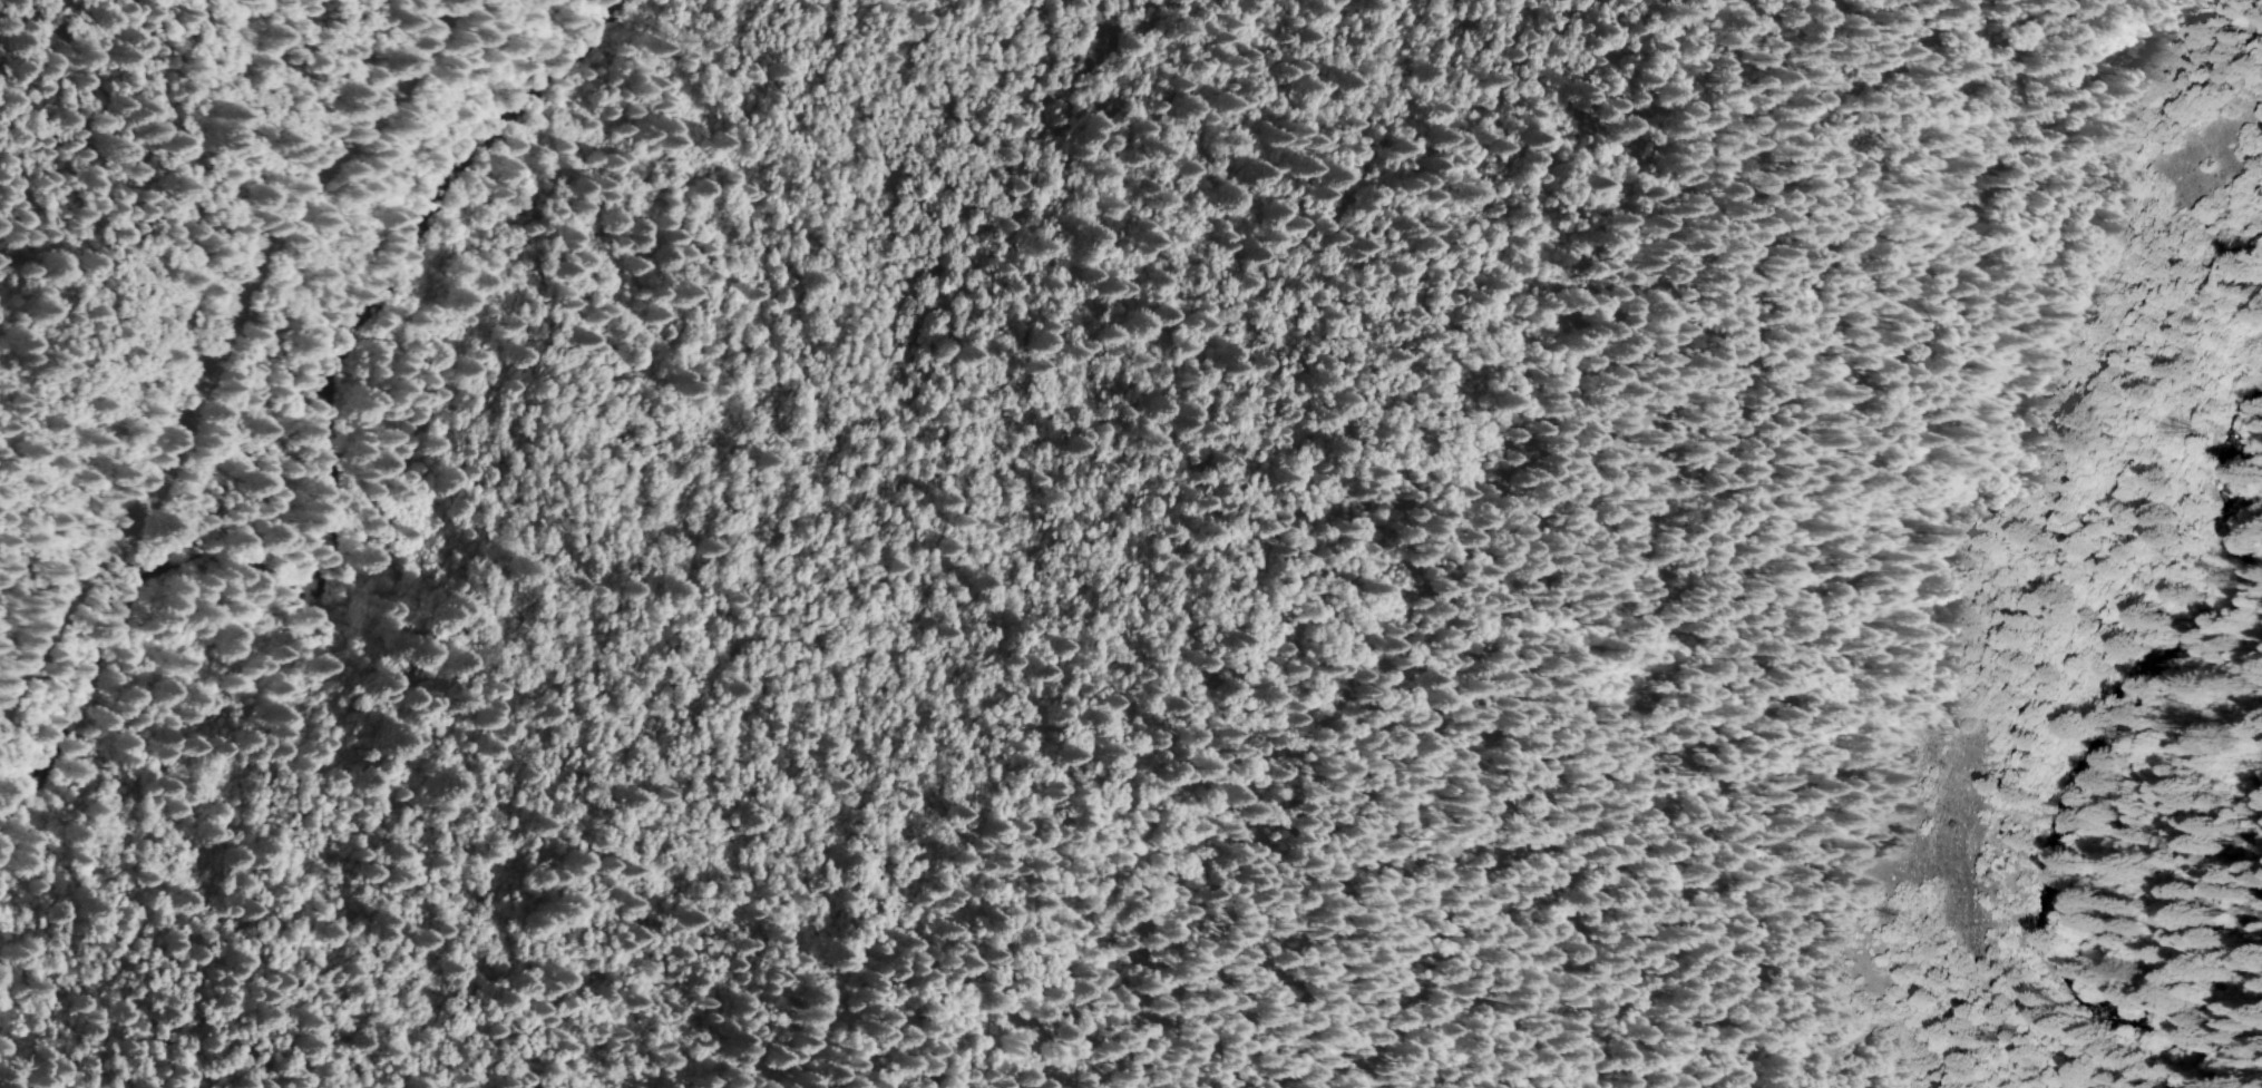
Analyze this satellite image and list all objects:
road: (205, 329)

